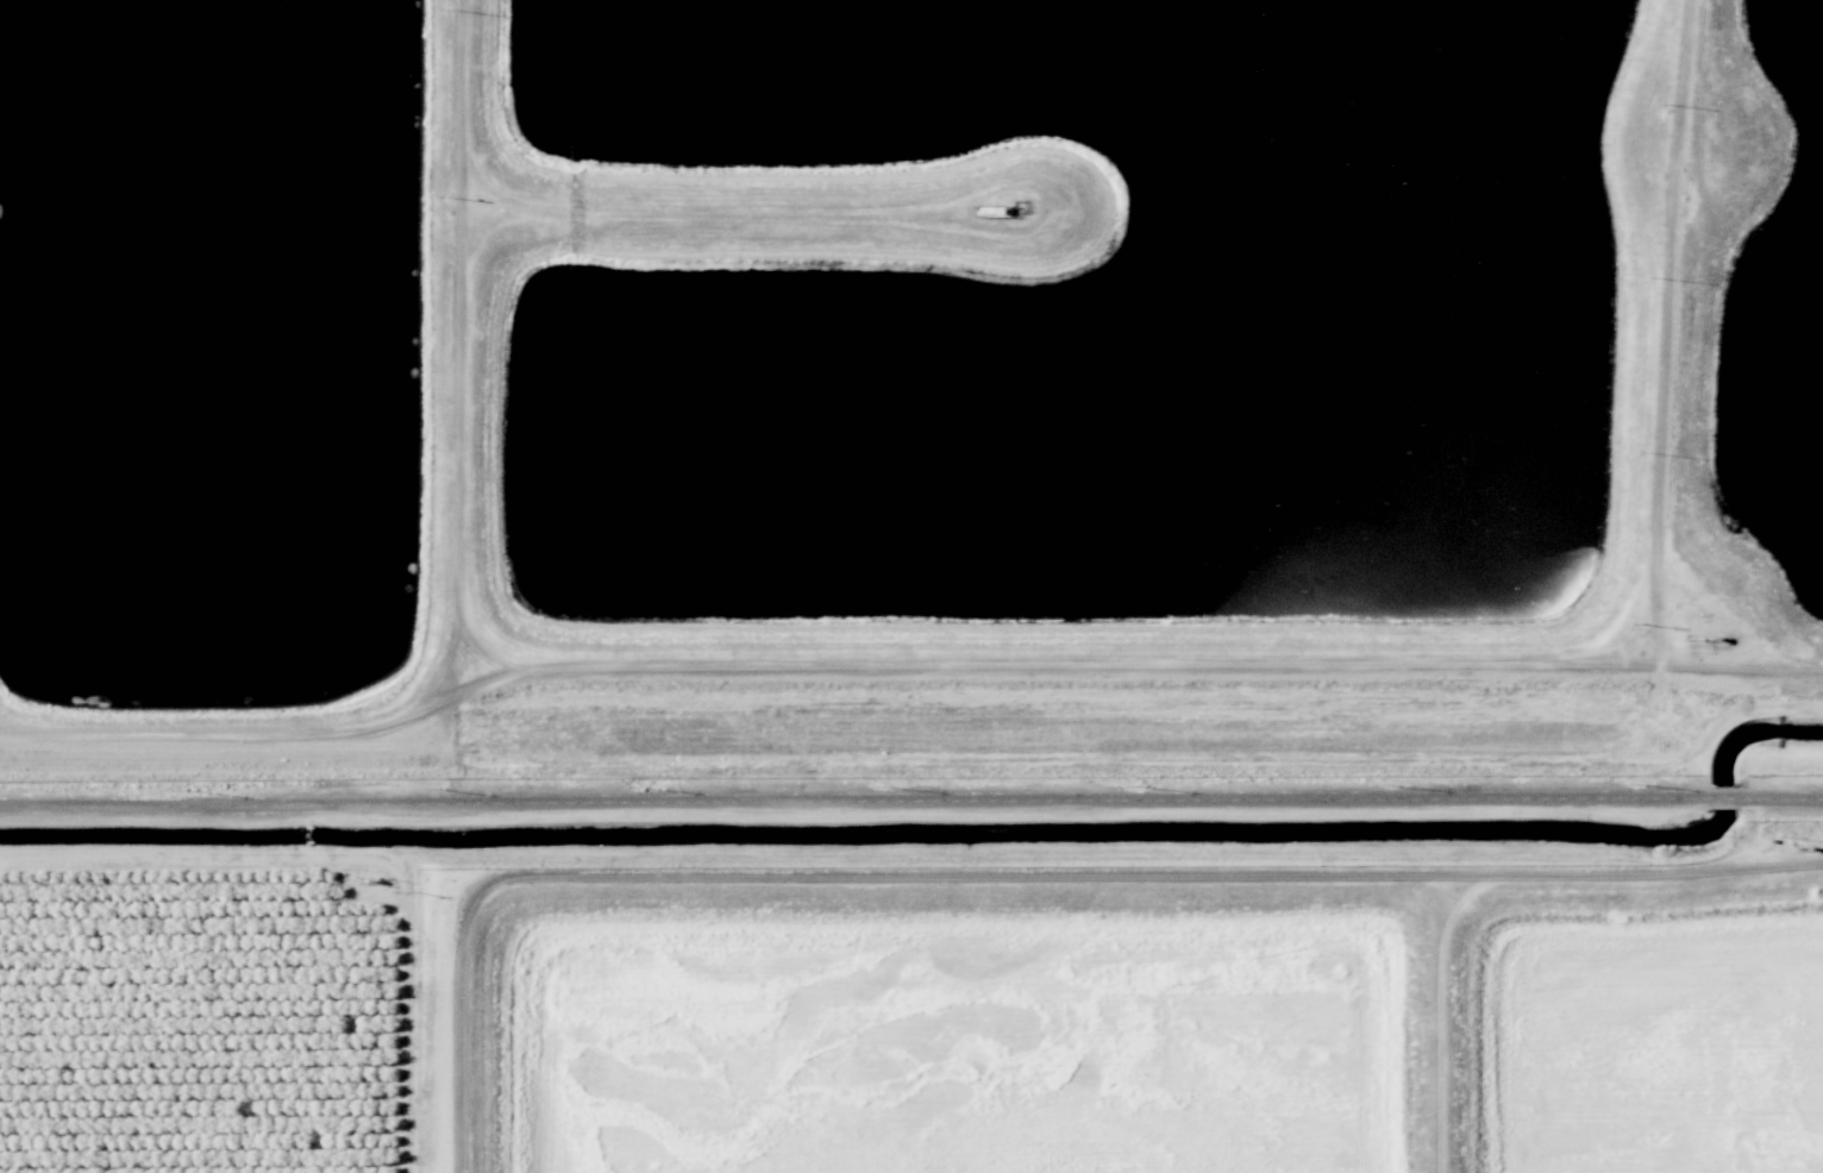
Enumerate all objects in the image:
wastewater plant: (1071, 322)
road: (1666, 332)
wastewater plant: (196, 337)
wastewater plant: (1772, 337)
road: (461, 349)
wastewater plant: (963, 556)
road: (904, 665)
road: (1793, 758)
road: (910, 798)
road: (198, 855)
road: (401, 858)
road: (1640, 871)
road: (977, 872)
road: (409, 1014)
wastewater plant: (947, 1047)
wastewater plant: (1661, 1053)

